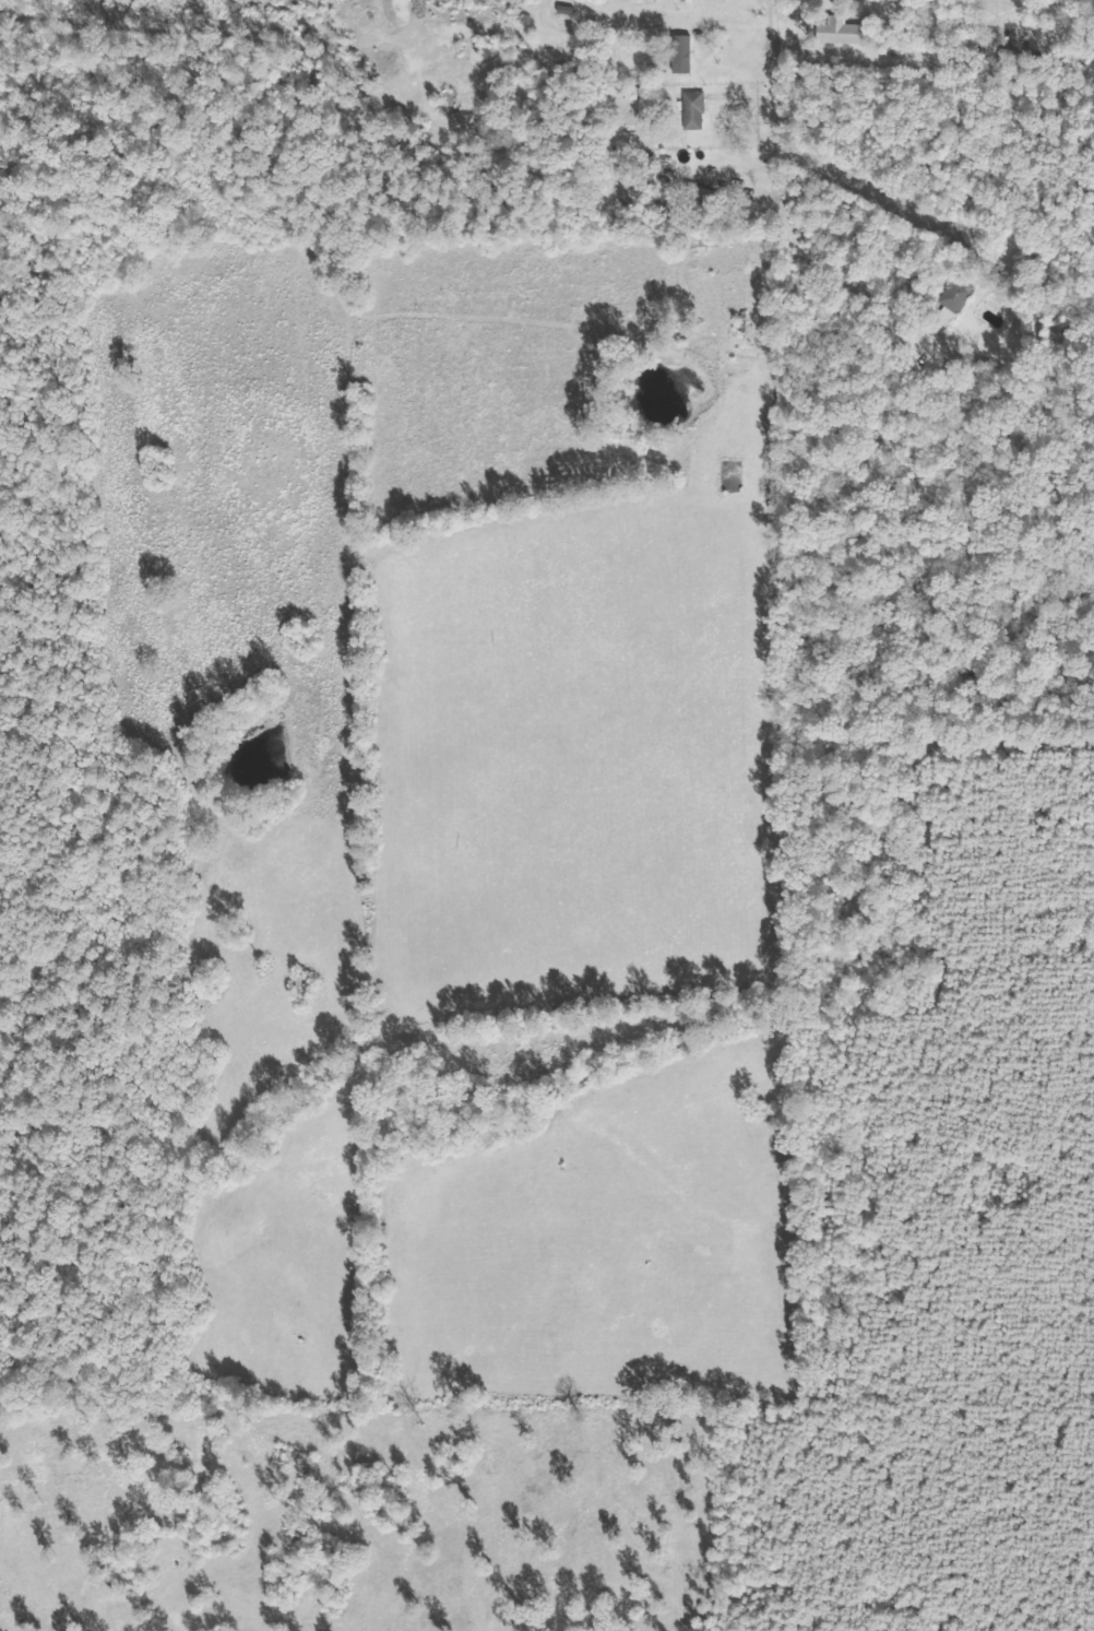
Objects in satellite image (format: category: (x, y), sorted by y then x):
building: (689, 0)
building: (845, 32)
building: (685, 55)
road: (773, 104)
building: (695, 110)
building: (955, 303)

